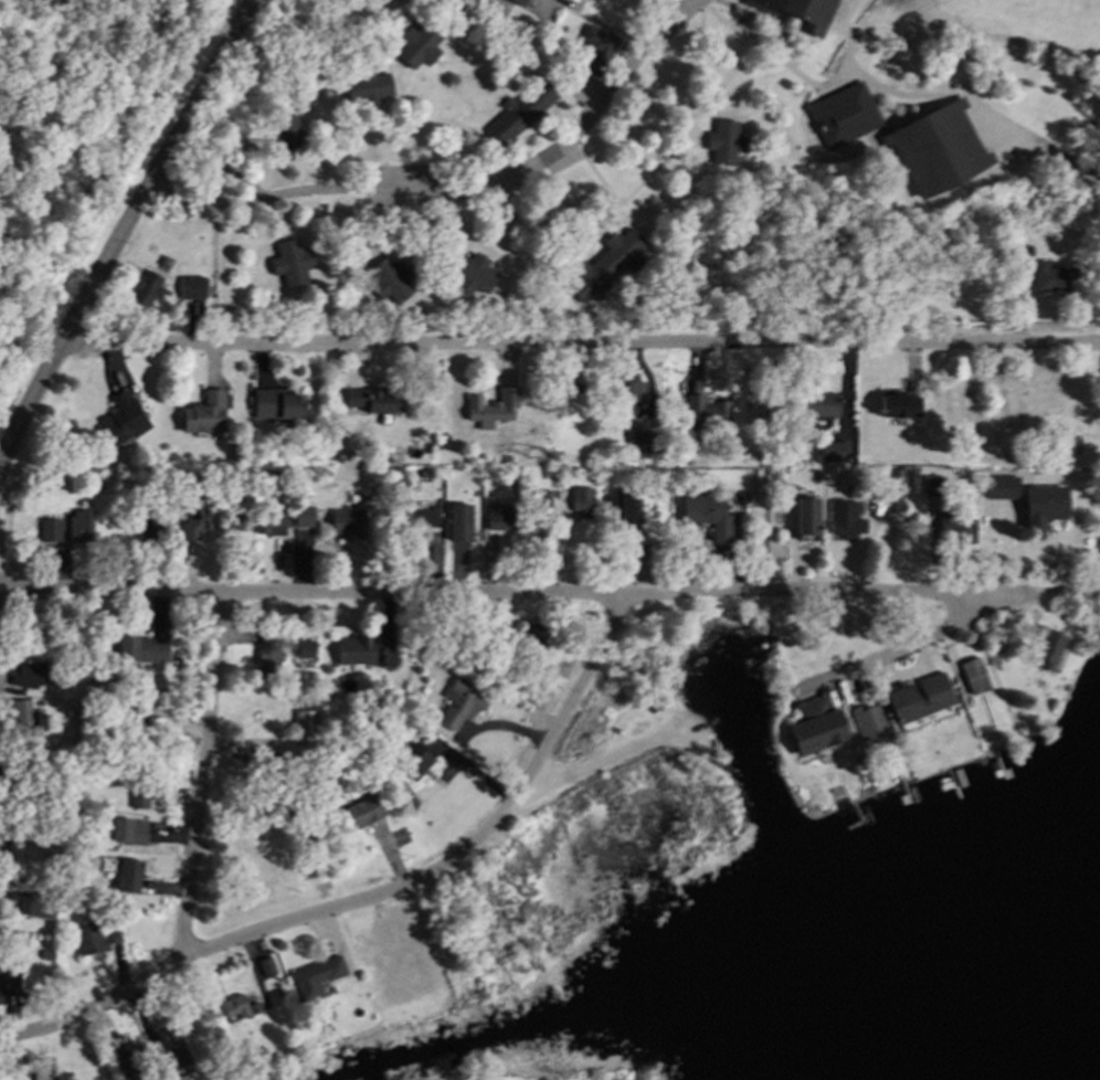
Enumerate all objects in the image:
building: (517, 1)
building: (793, 12)
road: (644, 28)
road: (666, 28)
building: (417, 42)
building: (594, 45)
building: (367, 85)
building: (517, 110)
building: (840, 114)
building: (279, 134)
building: (722, 140)
building: (934, 147)
road: (415, 187)
road: (126, 231)
building: (165, 260)
building: (290, 260)
building: (605, 264)
building: (469, 272)
building: (1047, 275)
building: (388, 277)
building: (142, 285)
building: (189, 285)
road: (582, 348)
building: (627, 387)
building: (573, 388)
building: (1038, 394)
building: (368, 398)
building: (275, 402)
building: (896, 403)
building: (491, 404)
building: (203, 412)
building: (705, 413)
building: (819, 415)
building: (119, 417)
building: (641, 441)
building: (363, 448)
building: (1065, 449)
building: (831, 451)
building: (232, 452)
building: (601, 456)
building: (505, 457)
building: (573, 468)
building: (423, 469)
building: (410, 484)
building: (871, 484)
building: (930, 484)
building: (998, 486)
building: (538, 498)
building: (580, 498)
building: (1040, 504)
building: (620, 506)
building: (191, 515)
building: (707, 515)
building: (805, 515)
building: (300, 516)
building: (422, 516)
building: (497, 516)
building: (907, 516)
building: (843, 518)
building: (226, 519)
building: (266, 519)
building: (343, 520)
building: (457, 520)
building: (78, 523)
building: (951, 525)
building: (47, 528)
building: (156, 528)
park: (1091, 557)
road: (1019, 574)
road: (487, 596)
building: (532, 629)
building: (974, 638)
building: (996, 638)
building: (139, 648)
building: (304, 648)
road: (903, 648)
building: (1045, 648)
building: (353, 649)
building: (264, 652)
building: (971, 670)
building: (33, 673)
building: (292, 682)
road: (574, 692)
building: (917, 697)
building: (458, 701)
building: (135, 708)
building: (25, 713)
building: (75, 719)
building: (868, 720)
building: (814, 724)
building: (303, 731)
building: (411, 760)
building: (269, 763)
road: (202, 774)
building: (94, 780)
building: (139, 795)
building: (297, 800)
building: (360, 812)
building: (303, 817)
building: (127, 829)
building: (2, 840)
building: (128, 876)
road: (343, 900)
building: (40, 907)
building: (114, 933)
building: (88, 939)
building: (44, 953)
building: (265, 964)
building: (314, 975)
building: (9, 976)
building: (236, 1005)
building: (168, 1048)
building: (126, 1058)
building: (208, 1069)

